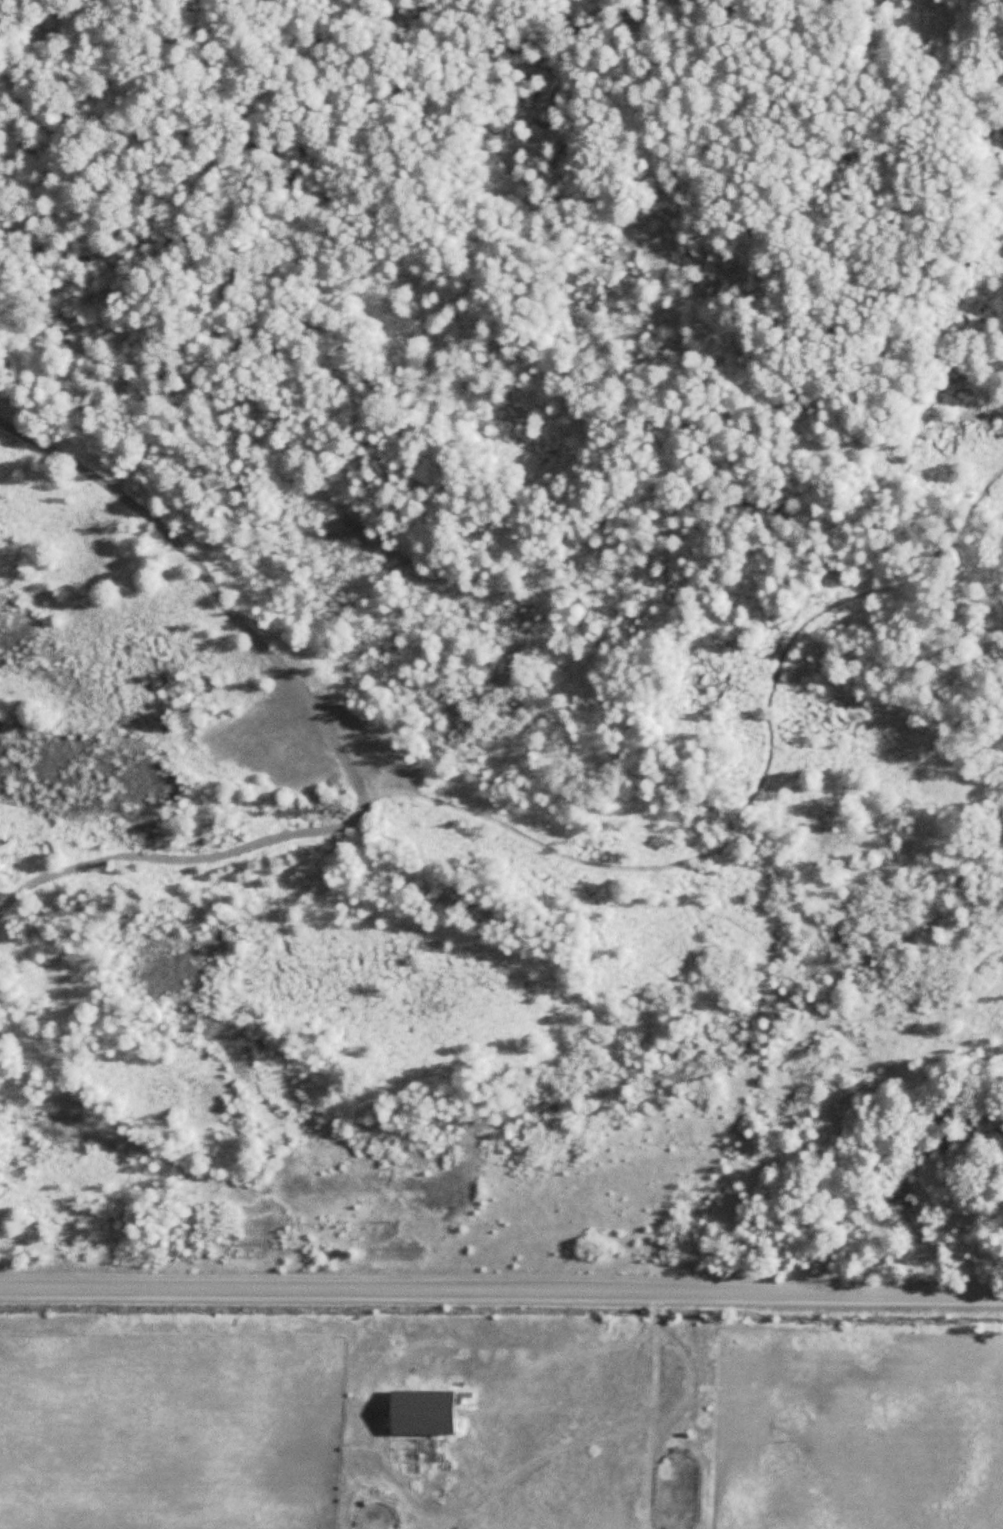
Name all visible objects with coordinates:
road: (501, 1294)
building: (423, 1413)

